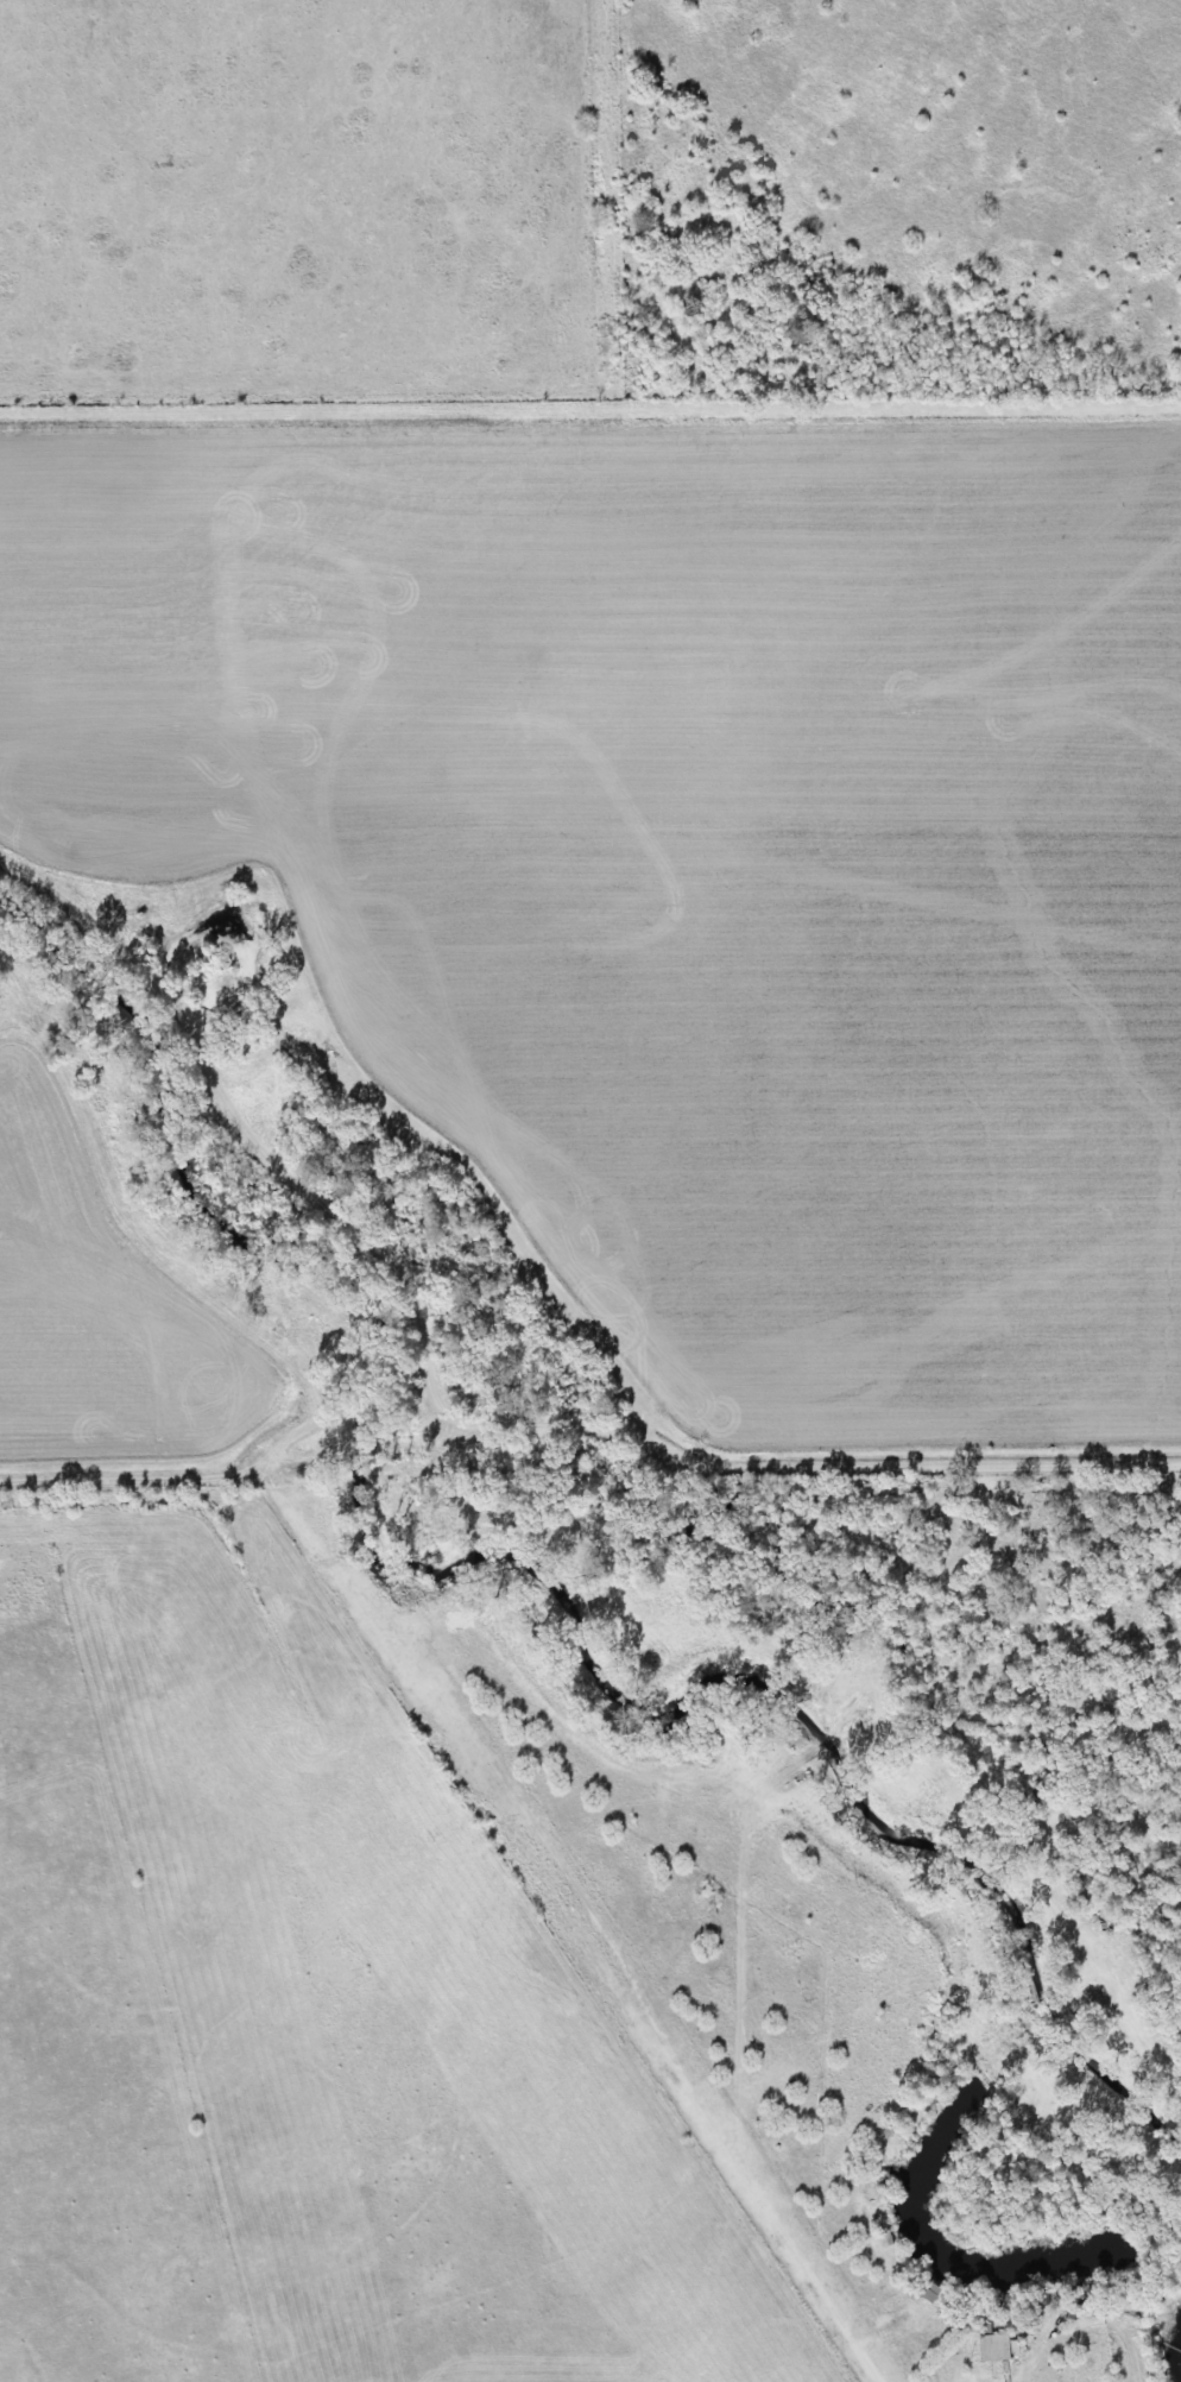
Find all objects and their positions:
building: (993, 2348)

